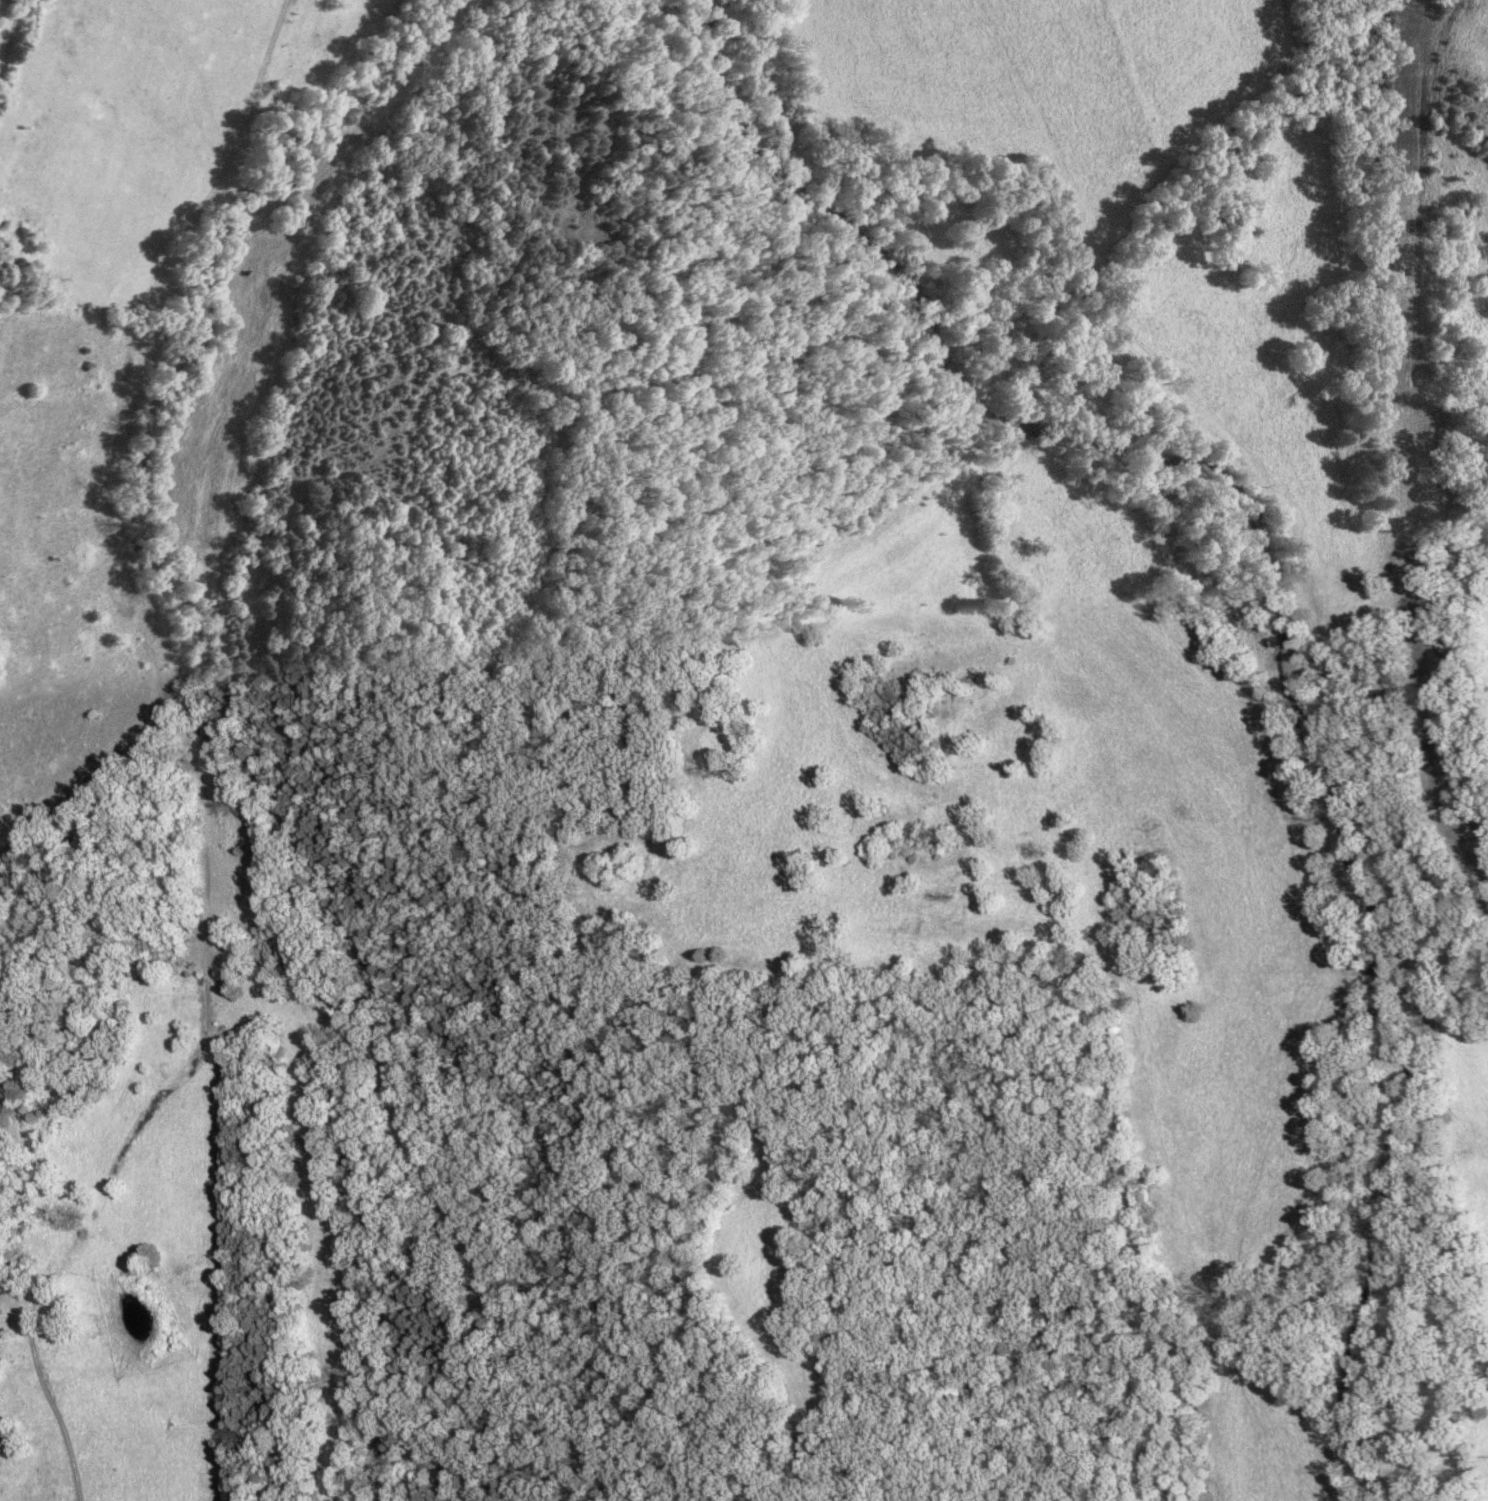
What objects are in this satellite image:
road: (198, 753)
road: (212, 1273)

